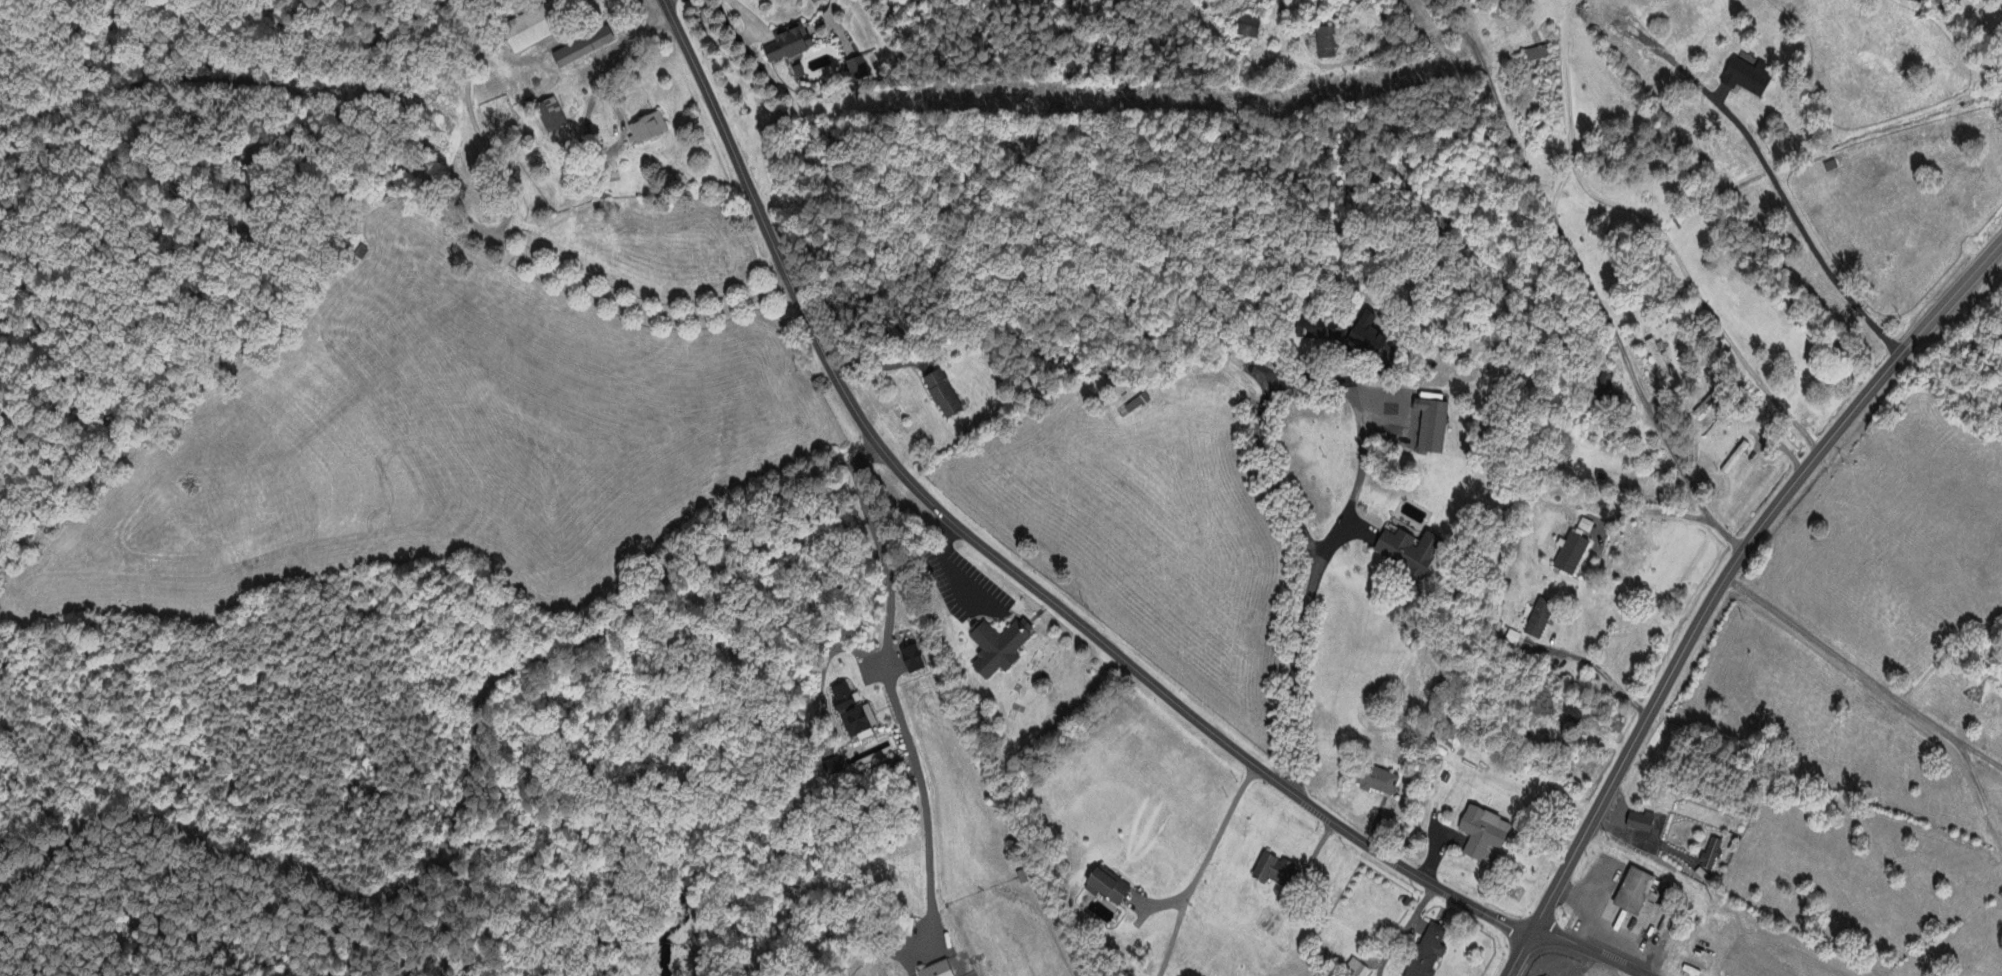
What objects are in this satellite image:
road: (623, 50)
road: (405, 168)
road: (1561, 188)
road: (1794, 214)
road: (1657, 228)
road: (1586, 279)
road: (1263, 464)
road: (1651, 511)
road: (995, 556)
road: (1734, 564)
road: (1318, 570)
road: (583, 632)
road: (1593, 668)
road: (1863, 678)
road: (892, 695)
park: (1038, 703)
building: (852, 712)
building: (832, 767)
building: (1377, 780)
road: (1973, 788)
building: (1640, 822)
road: (181, 828)
building: (1482, 832)
building: (1711, 854)
road: (1200, 870)
building: (1275, 872)
building: (1107, 886)
building: (1634, 891)
road: (446, 906)
road: (1403, 930)
road: (363, 932)
building: (1428, 952)
road: (1587, 952)
road: (1519, 954)
building: (1355, 969)
building: (937, 970)

